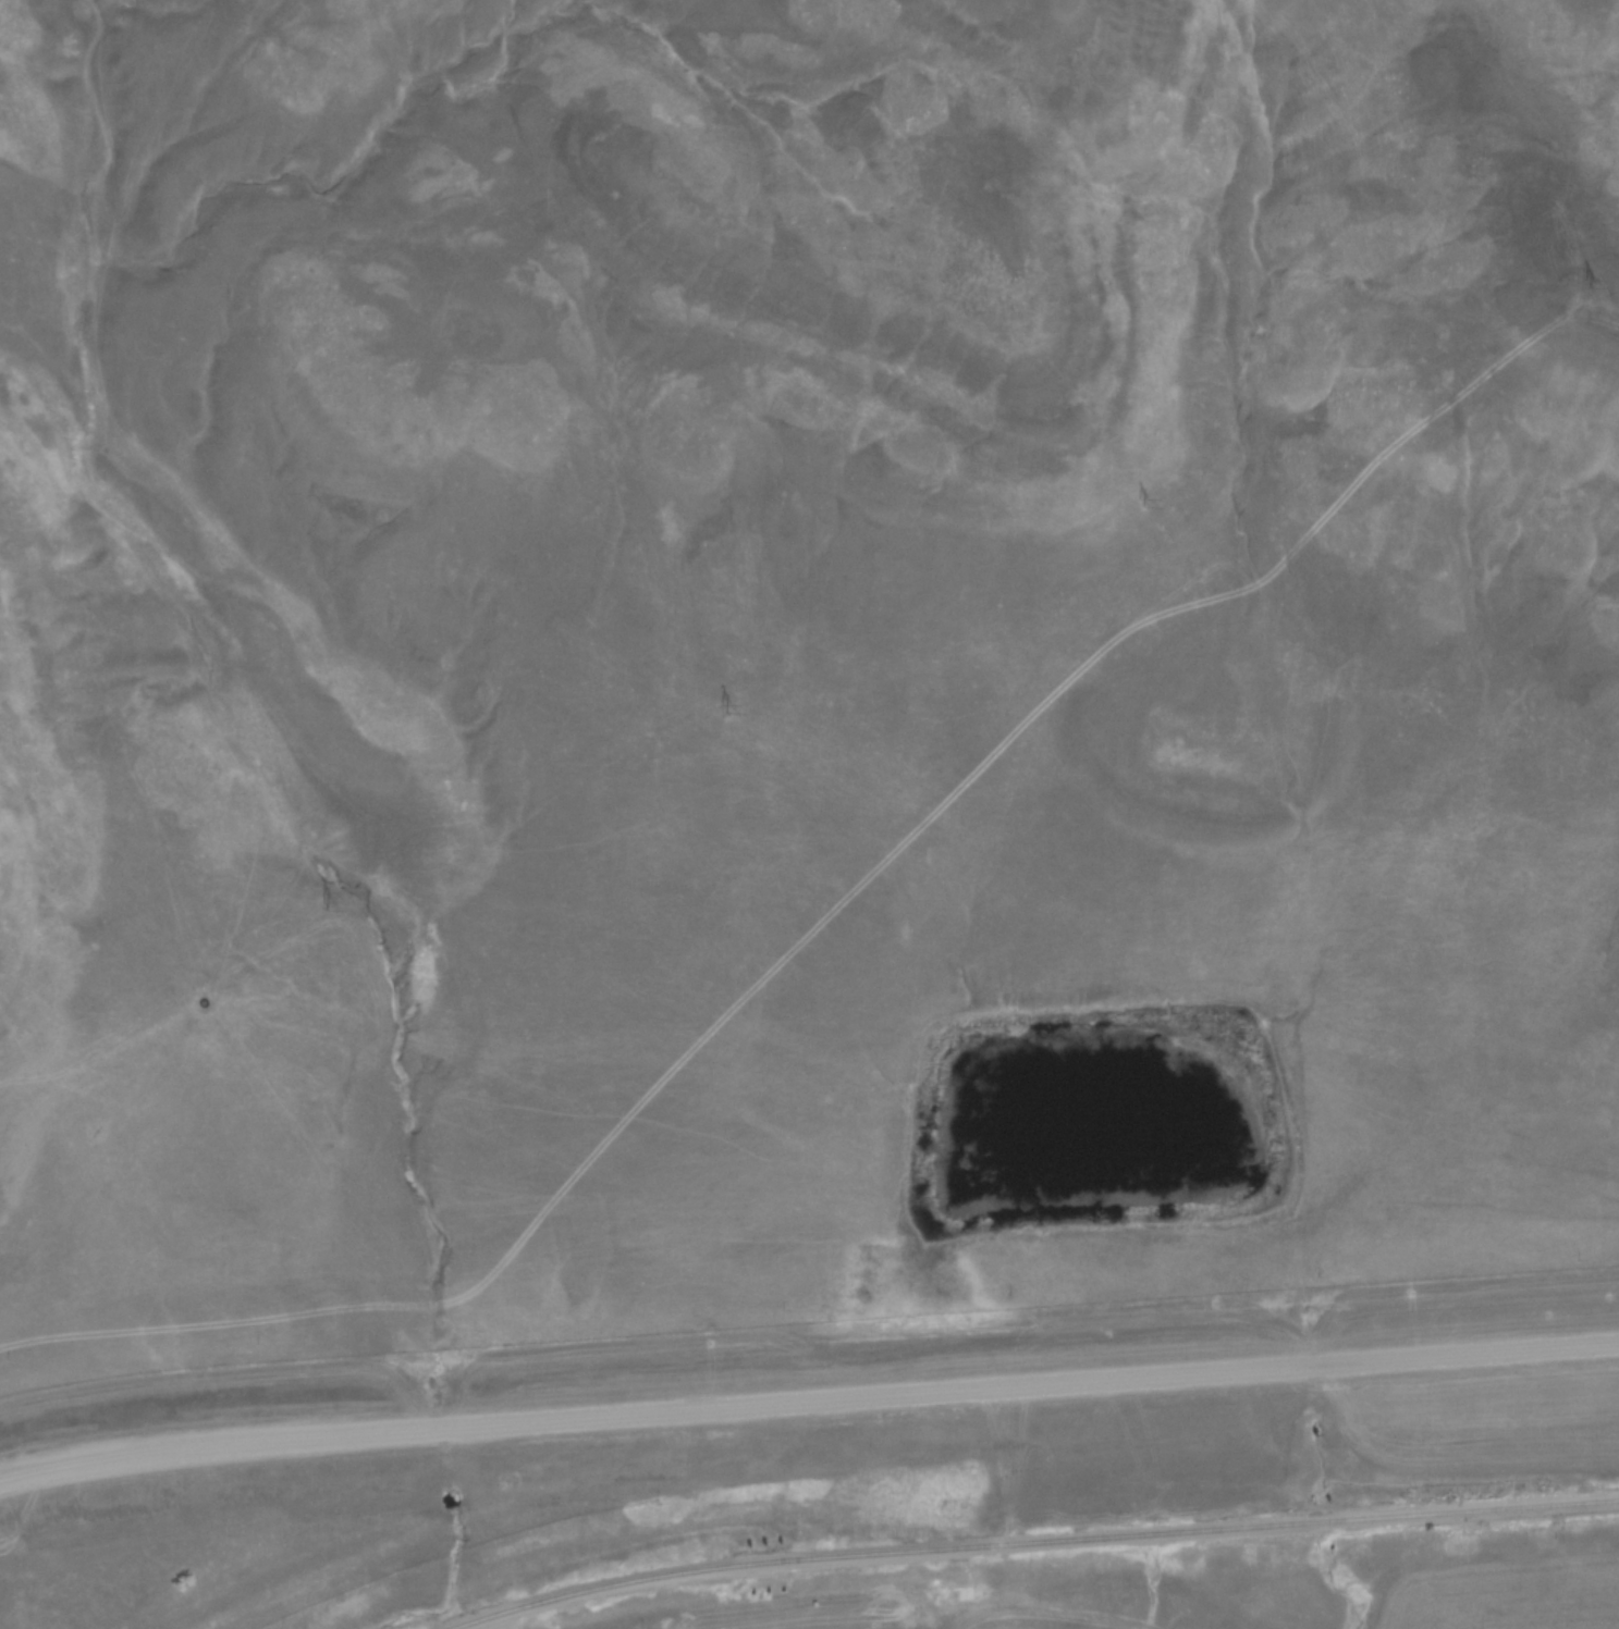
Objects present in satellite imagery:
power tower: (1583, 284)
power tower: (1140, 502)
power tower: (721, 708)
power tower: (320, 906)
road: (808, 1400)
railway: (1032, 1542)

